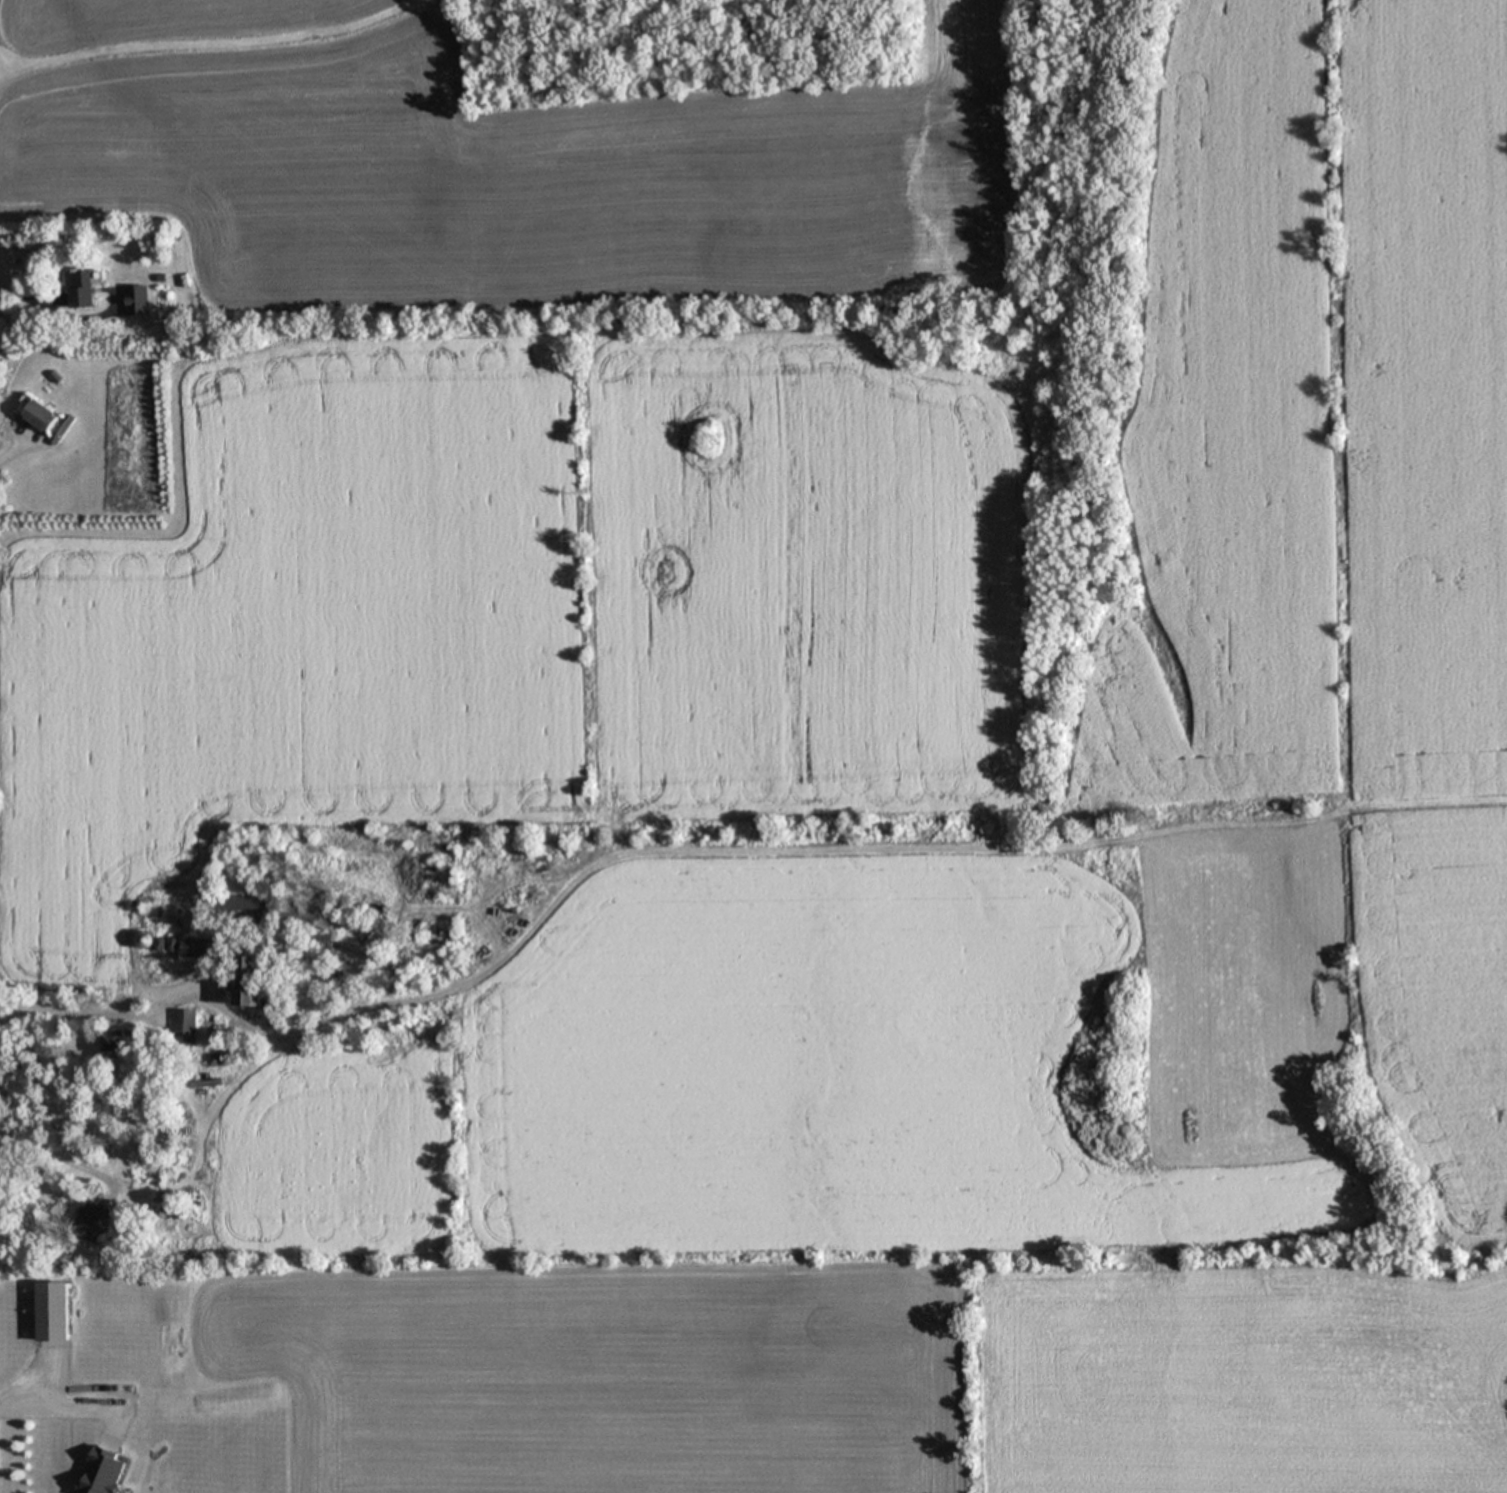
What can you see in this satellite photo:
building: (84, 291)
road: (28, 295)
building: (139, 303)
building: (44, 418)
road: (14, 450)
building: (246, 913)
building: (324, 950)
building: (254, 983)
road: (97, 1012)
building: (186, 1027)
building: (120, 1045)
building: (219, 1062)
building: (95, 1226)
building: (57, 1315)
road: (52, 1413)
building: (106, 1473)

